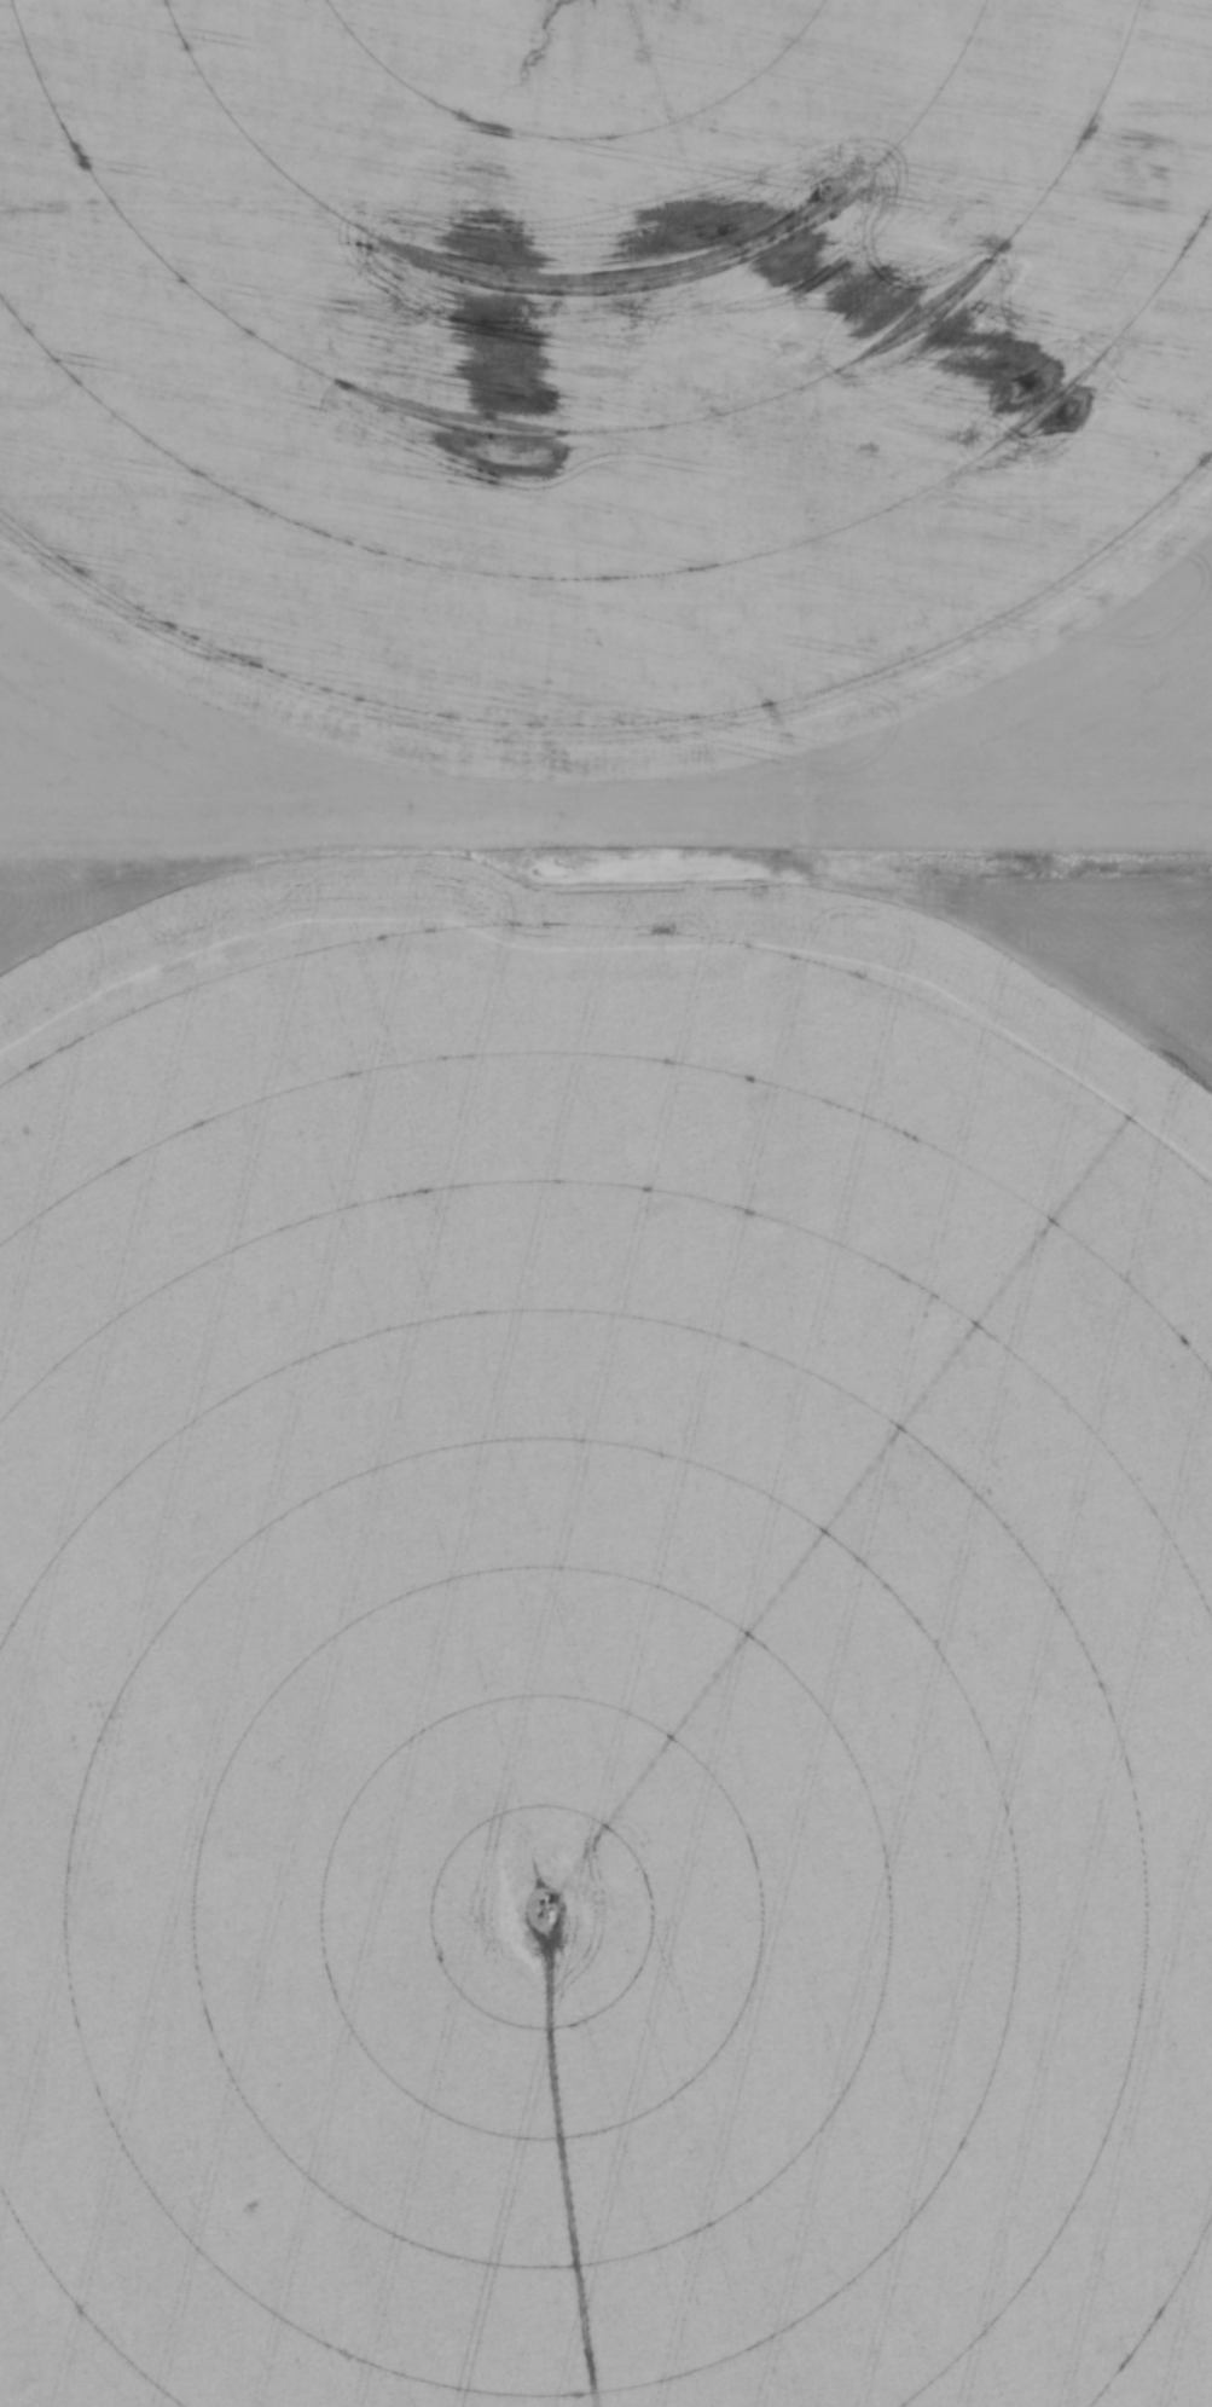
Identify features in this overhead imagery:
crop: (605, 1203)

